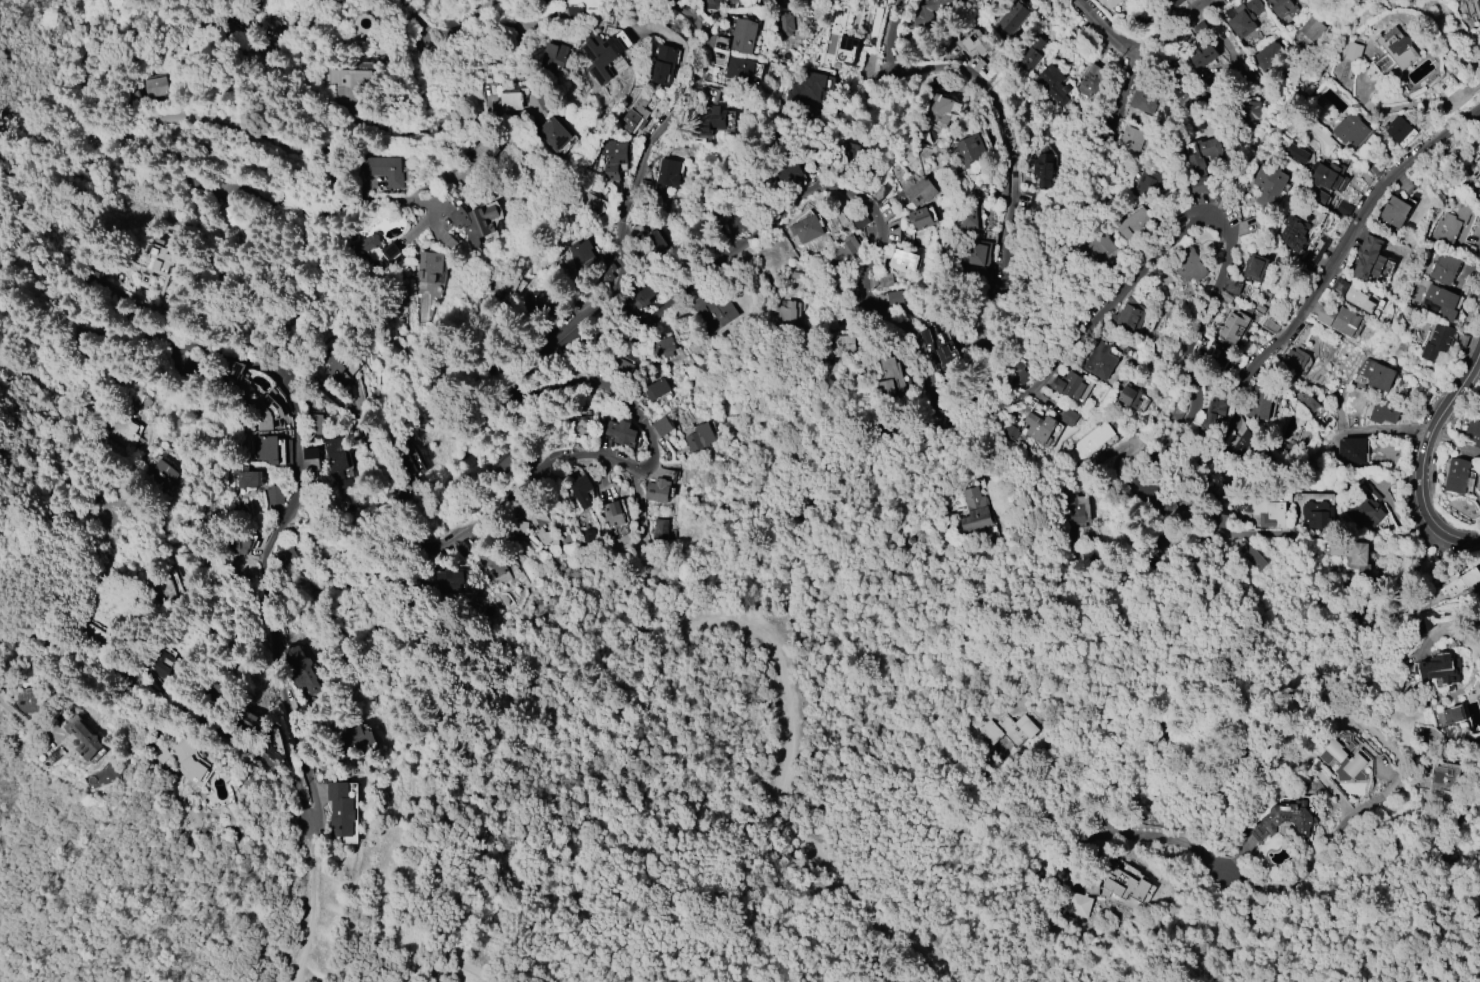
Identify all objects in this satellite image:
building: (796, 0)
building: (996, 0)
building: (732, 1)
building: (804, 1)
building: (543, 2)
building: (772, 2)
building: (1108, 3)
building: (1479, 3)
building: (711, 4)
building: (1168, 4)
building: (1282, 8)
road: (273, 10)
road: (298, 10)
building: (930, 11)
building: (1012, 16)
road: (410, 23)
building: (1242, 23)
road: (456, 24)
building: (786, 25)
road: (1104, 26)
road: (1175, 26)
building: (1312, 31)
building: (743, 36)
building: (981, 46)
building: (1395, 51)
building: (1353, 52)
building: (604, 53)
building: (1031, 54)
building: (1203, 55)
building: (1267, 55)
building: (555, 56)
road: (83, 57)
road: (67, 58)
road: (1320, 58)
building: (663, 65)
building: (740, 69)
road: (1257, 70)
building: (1092, 79)
building: (345, 82)
building: (1053, 84)
building: (1448, 85)
building: (154, 86)
road: (453, 87)
road: (1121, 89)
building: (811, 91)
building: (1144, 97)
building: (1186, 98)
building: (511, 99)
road: (995, 105)
building: (939, 106)
road: (184, 109)
building: (636, 113)
building: (1249, 113)
building: (710, 121)
building: (1350, 128)
building: (1396, 129)
road: (80, 133)
building: (553, 133)
building: (1130, 140)
building: (567, 146)
building: (969, 150)
road: (288, 151)
building: (1296, 153)
building: (613, 157)
building: (481, 158)
building: (1202, 165)
building: (1377, 166)
building: (383, 170)
building: (1043, 170)
building: (668, 173)
building: (1329, 177)
building: (1149, 184)
building: (1269, 184)
building: (921, 191)
building: (880, 194)
building: (1478, 194)
building: (589, 201)
road: (355, 204)
building: (1342, 208)
building: (1393, 212)
building: (923, 217)
building: (977, 220)
building: (231, 222)
building: (475, 222)
building: (1133, 223)
building: (807, 229)
building: (1454, 229)
building: (1293, 233)
building: (657, 240)
building: (447, 242)
building: (375, 247)
building: (847, 248)
building: (1095, 248)
building: (1320, 250)
building: (975, 253)
building: (578, 256)
building: (1369, 258)
building: (903, 261)
building: (430, 262)
building: (1190, 265)
building: (1255, 267)
building: (1444, 269)
building: (604, 270)
building: (94, 274)
building: (160, 274)
road: (1095, 278)
building: (886, 280)
building: (501, 284)
building: (1233, 284)
building: (1340, 286)
building: (894, 298)
building: (1358, 299)
building: (633, 300)
building: (1440, 303)
building: (536, 305)
building: (716, 310)
building: (788, 312)
building: (1325, 314)
building: (1133, 315)
building: (1345, 322)
building: (1232, 326)
building: (1270, 326)
road: (1290, 328)
building: (1437, 342)
building: (663, 345)
building: (840, 345)
building: (939, 350)
building: (1215, 352)
building: (1294, 359)
road: (231, 360)
building: (1101, 360)
building: (341, 368)
building: (889, 374)
building: (1376, 375)
building: (1073, 385)
building: (657, 389)
building: (1133, 398)
building: (1305, 401)
building: (1261, 404)
building: (267, 411)
building: (1383, 412)
building: (1189, 413)
building: (1212, 414)
building: (1069, 417)
building: (315, 422)
road: (963, 423)
building: (582, 425)
building: (662, 427)
building: (1040, 428)
building: (1473, 432)
building: (122, 433)
building: (625, 433)
building: (700, 439)
building: (1090, 441)
building: (1354, 449)
building: (266, 450)
road: (1424, 453)
building: (311, 454)
building: (336, 455)
road: (1411, 458)
building: (409, 462)
building: (1456, 475)
building: (160, 476)
building: (247, 477)
building: (345, 487)
road: (521, 488)
building: (660, 488)
building: (582, 491)
building: (274, 494)
road: (637, 508)
building: (1075, 509)
road: (773, 510)
building: (975, 510)
building: (1366, 510)
building: (1270, 512)
building: (615, 513)
building: (1318, 515)
building: (101, 517)
building: (536, 527)
building: (660, 529)
building: (441, 541)
road: (1205, 541)
building: (239, 544)
building: (283, 553)
building: (1357, 553)
building: (1253, 557)
building: (491, 565)
building: (1363, 572)
building: (446, 578)
building: (1461, 582)
building: (161, 587)
road: (1440, 634)
building: (93, 635)
building: (163, 659)
building: (302, 670)
building: (1440, 670)
building: (29, 700)
road: (176, 707)
building: (1453, 714)
road: (25, 718)
building: (248, 720)
building: (1007, 729)
building: (357, 737)
building: (84, 738)
building: (276, 747)
road: (787, 747)
building: (1345, 758)
building: (188, 760)
building: (1443, 778)
building: (1478, 807)
building: (342, 809)
building: (1286, 820)
road: (139, 865)
road: (1303, 873)
building: (1123, 881)
building: (1076, 904)
road: (306, 919)
road: (435, 963)

